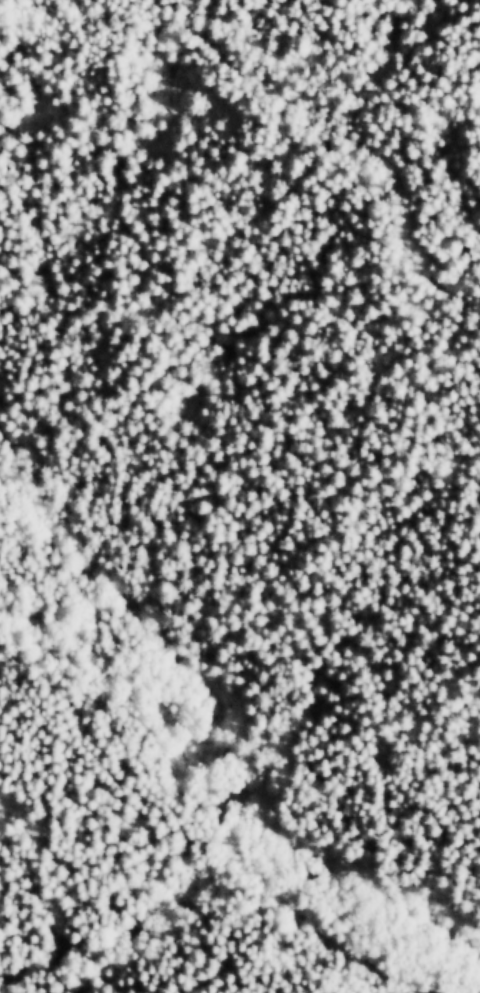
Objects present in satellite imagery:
road: (343, 136)
road: (230, 753)

